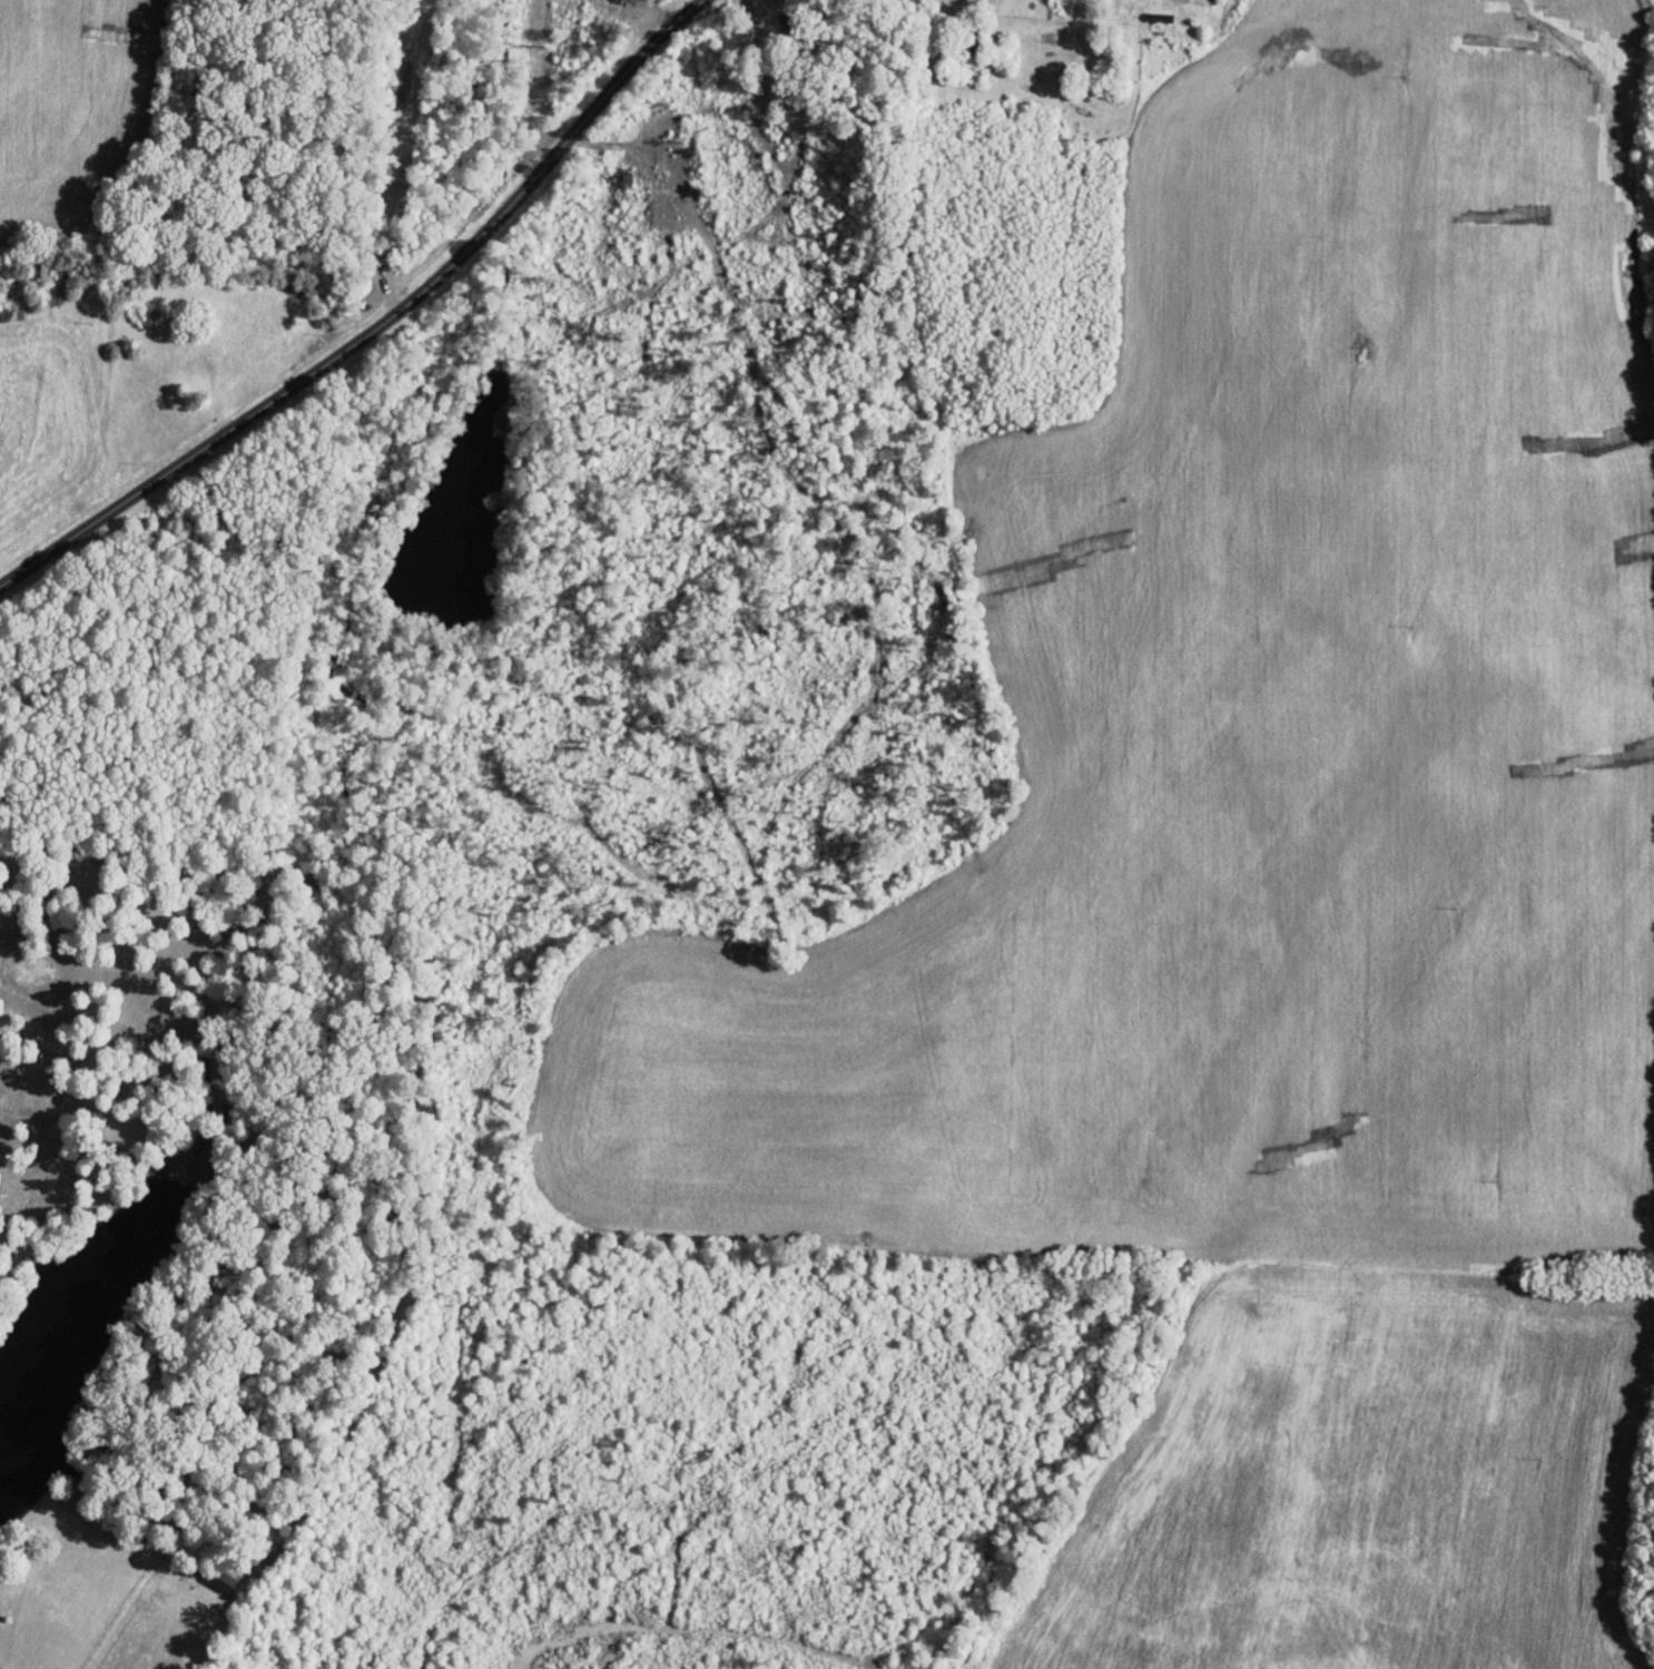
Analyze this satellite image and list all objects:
road: (380, 326)

